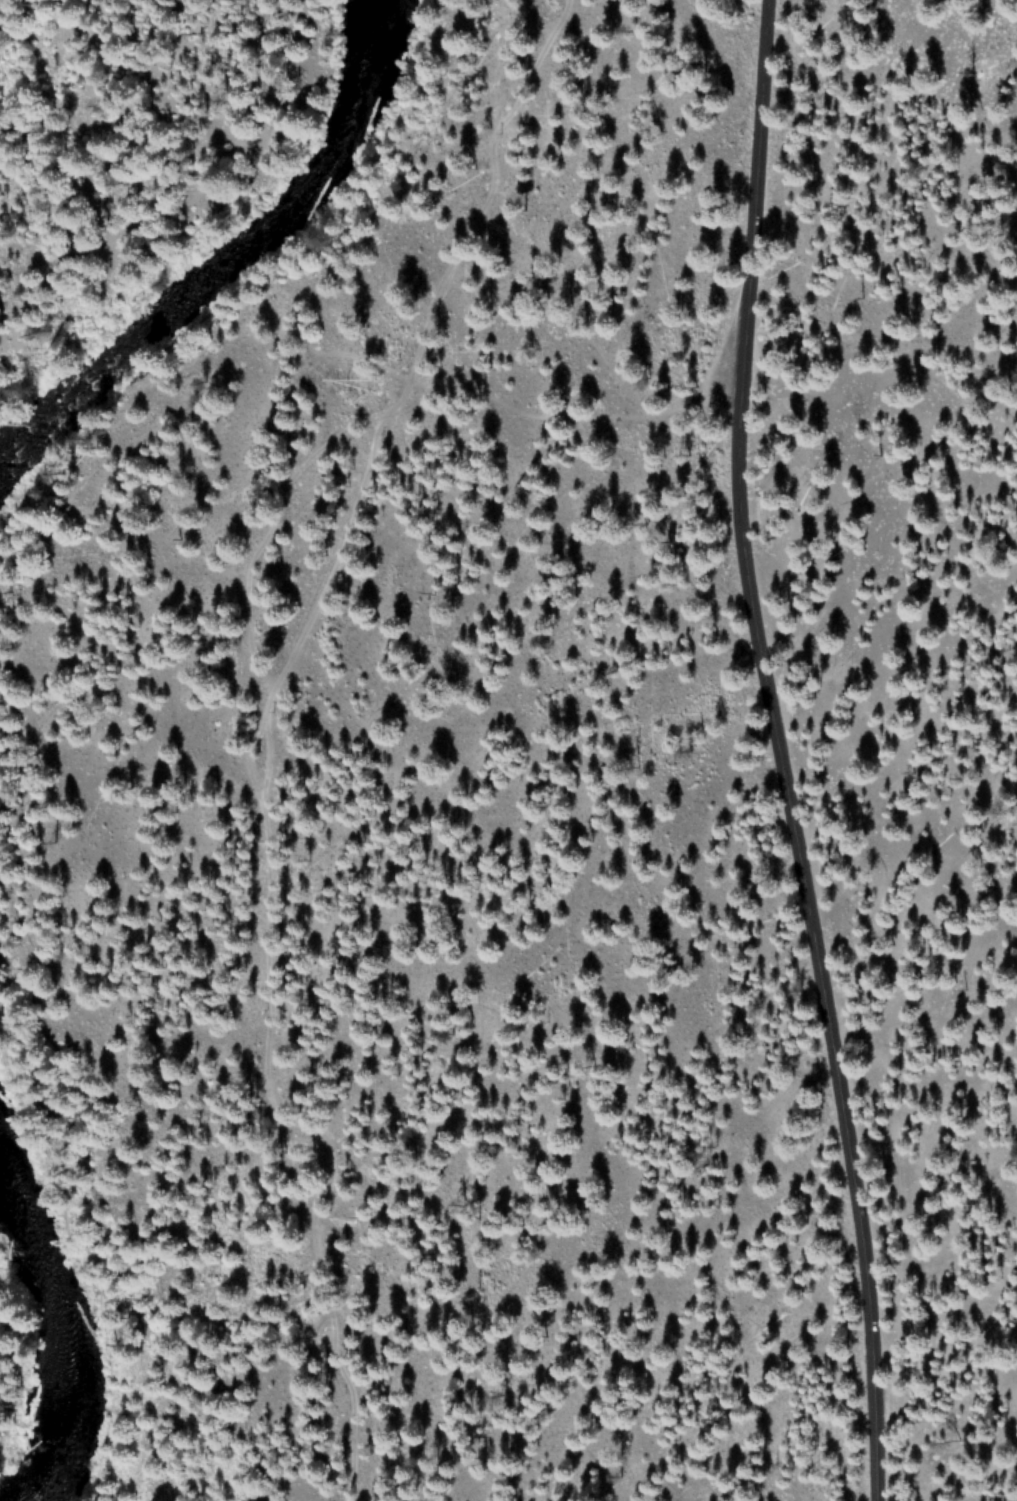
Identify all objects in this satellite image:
road: (187, 188)
river: (217, 259)
road: (247, 295)
road: (776, 752)
road: (57, 1270)
river: (38, 1360)

